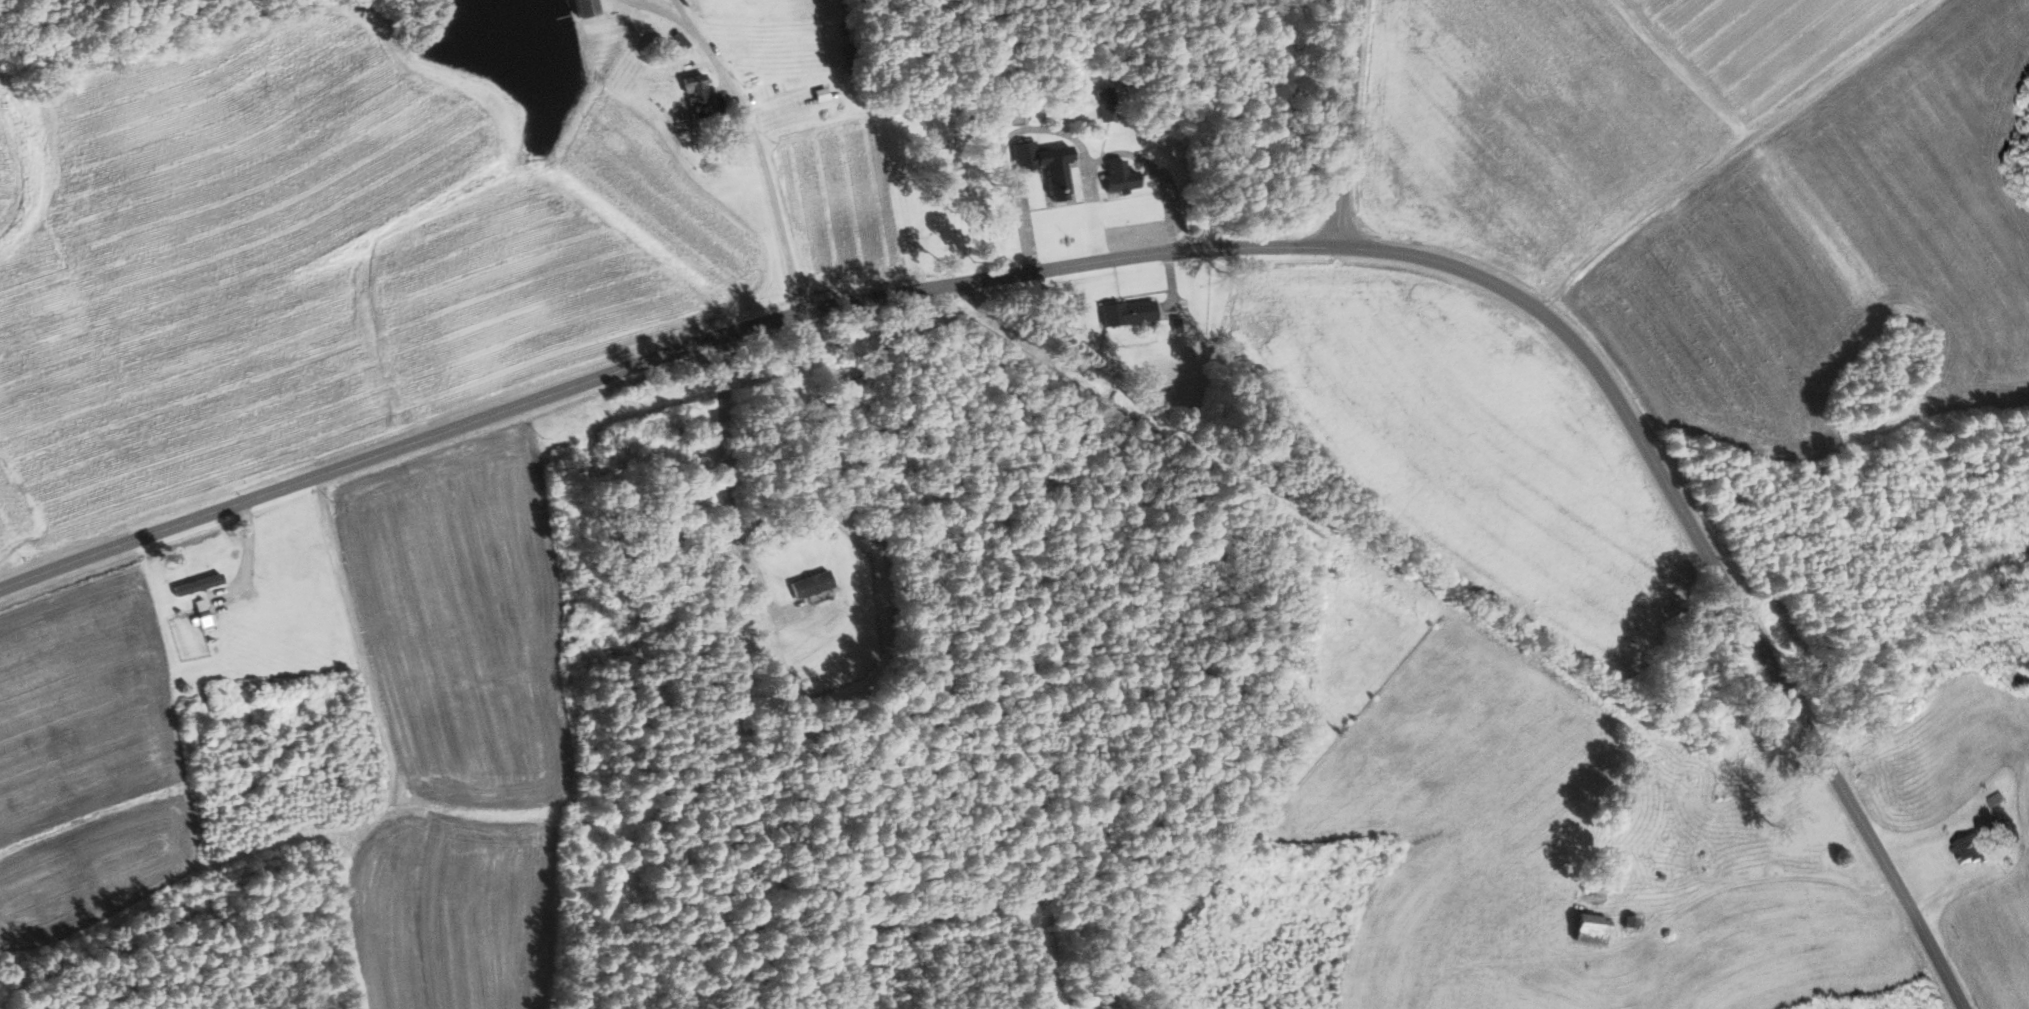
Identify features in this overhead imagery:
building: (579, 8)
road: (680, 9)
road: (655, 10)
building: (691, 88)
road: (1349, 122)
road: (762, 160)
building: (1041, 166)
building: (1117, 177)
road: (1159, 255)
building: (1124, 313)
building: (1174, 325)
road: (725, 486)
building: (809, 584)
building: (202, 585)
building: (206, 613)
building: (1967, 849)
building: (1590, 887)
building: (1628, 922)
building: (1586, 929)
road: (1650, 931)

